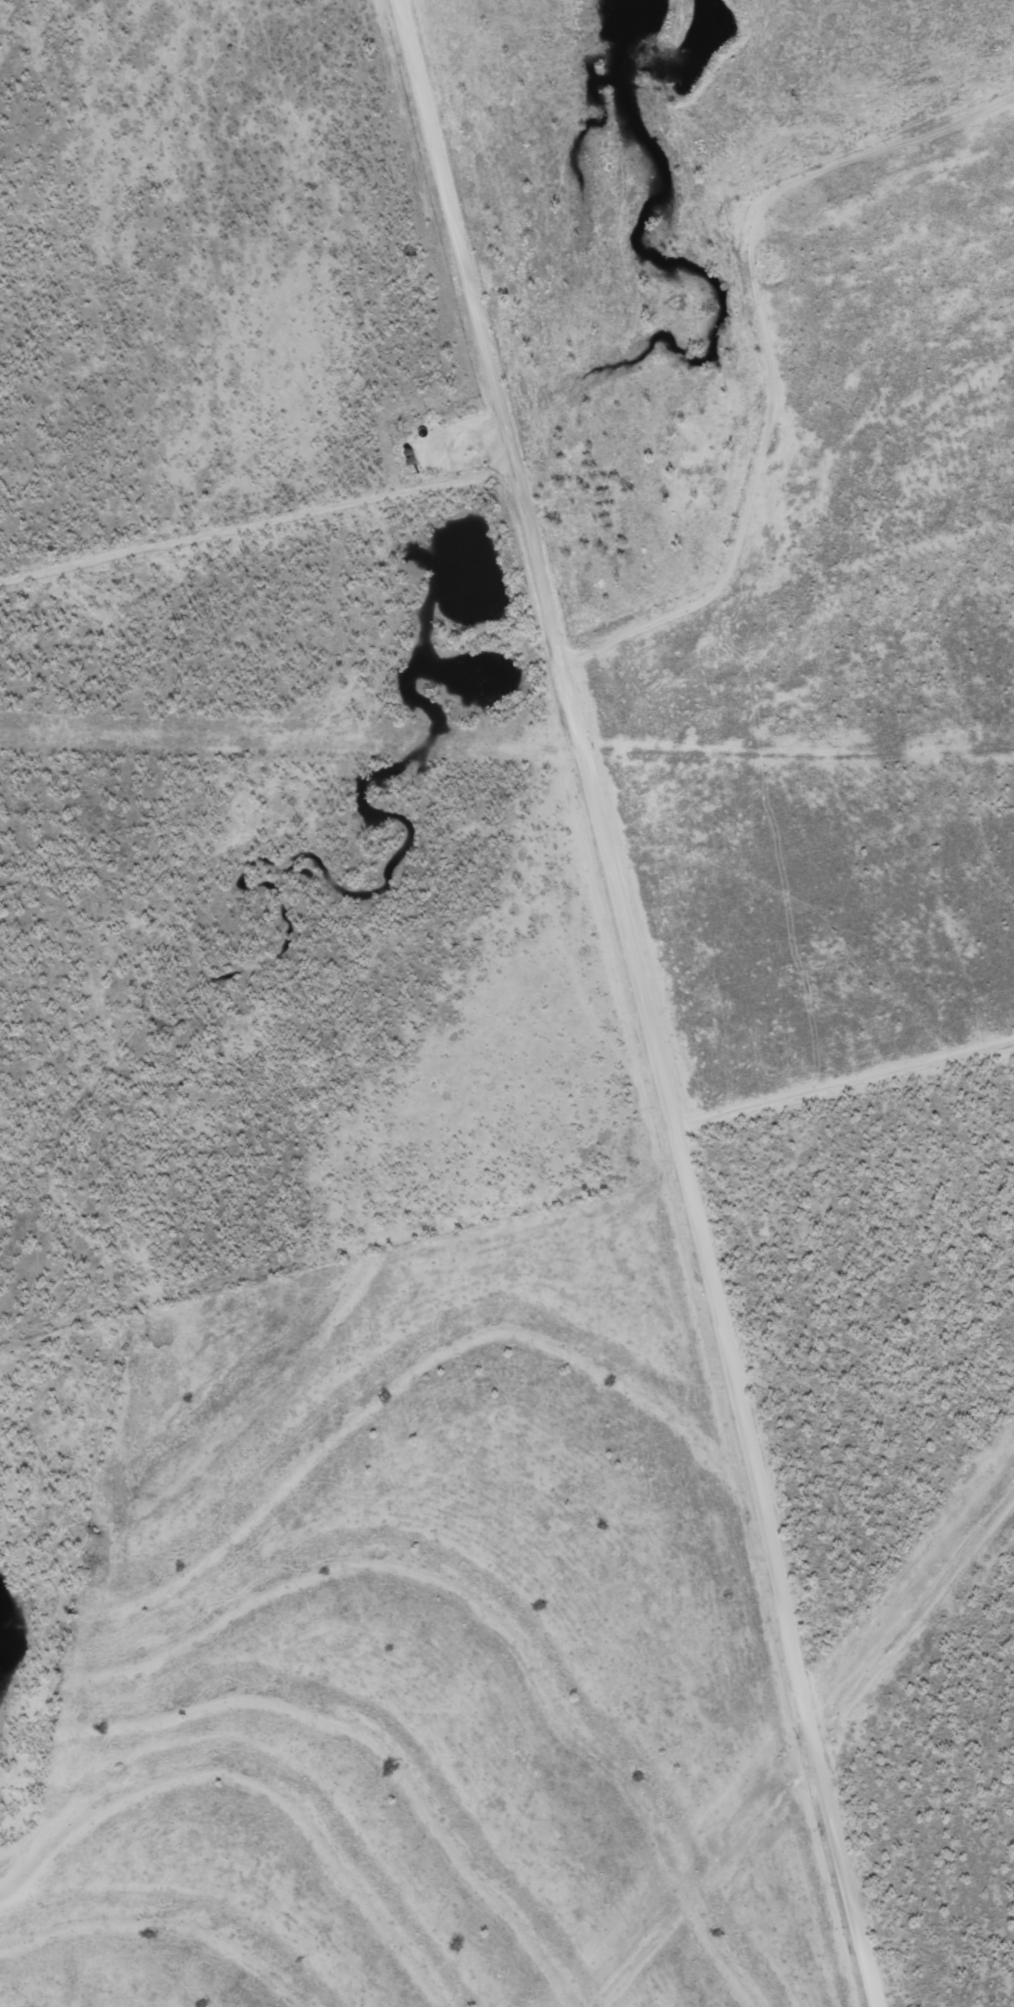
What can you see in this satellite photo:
road: (256, 545)
road: (640, 1013)

